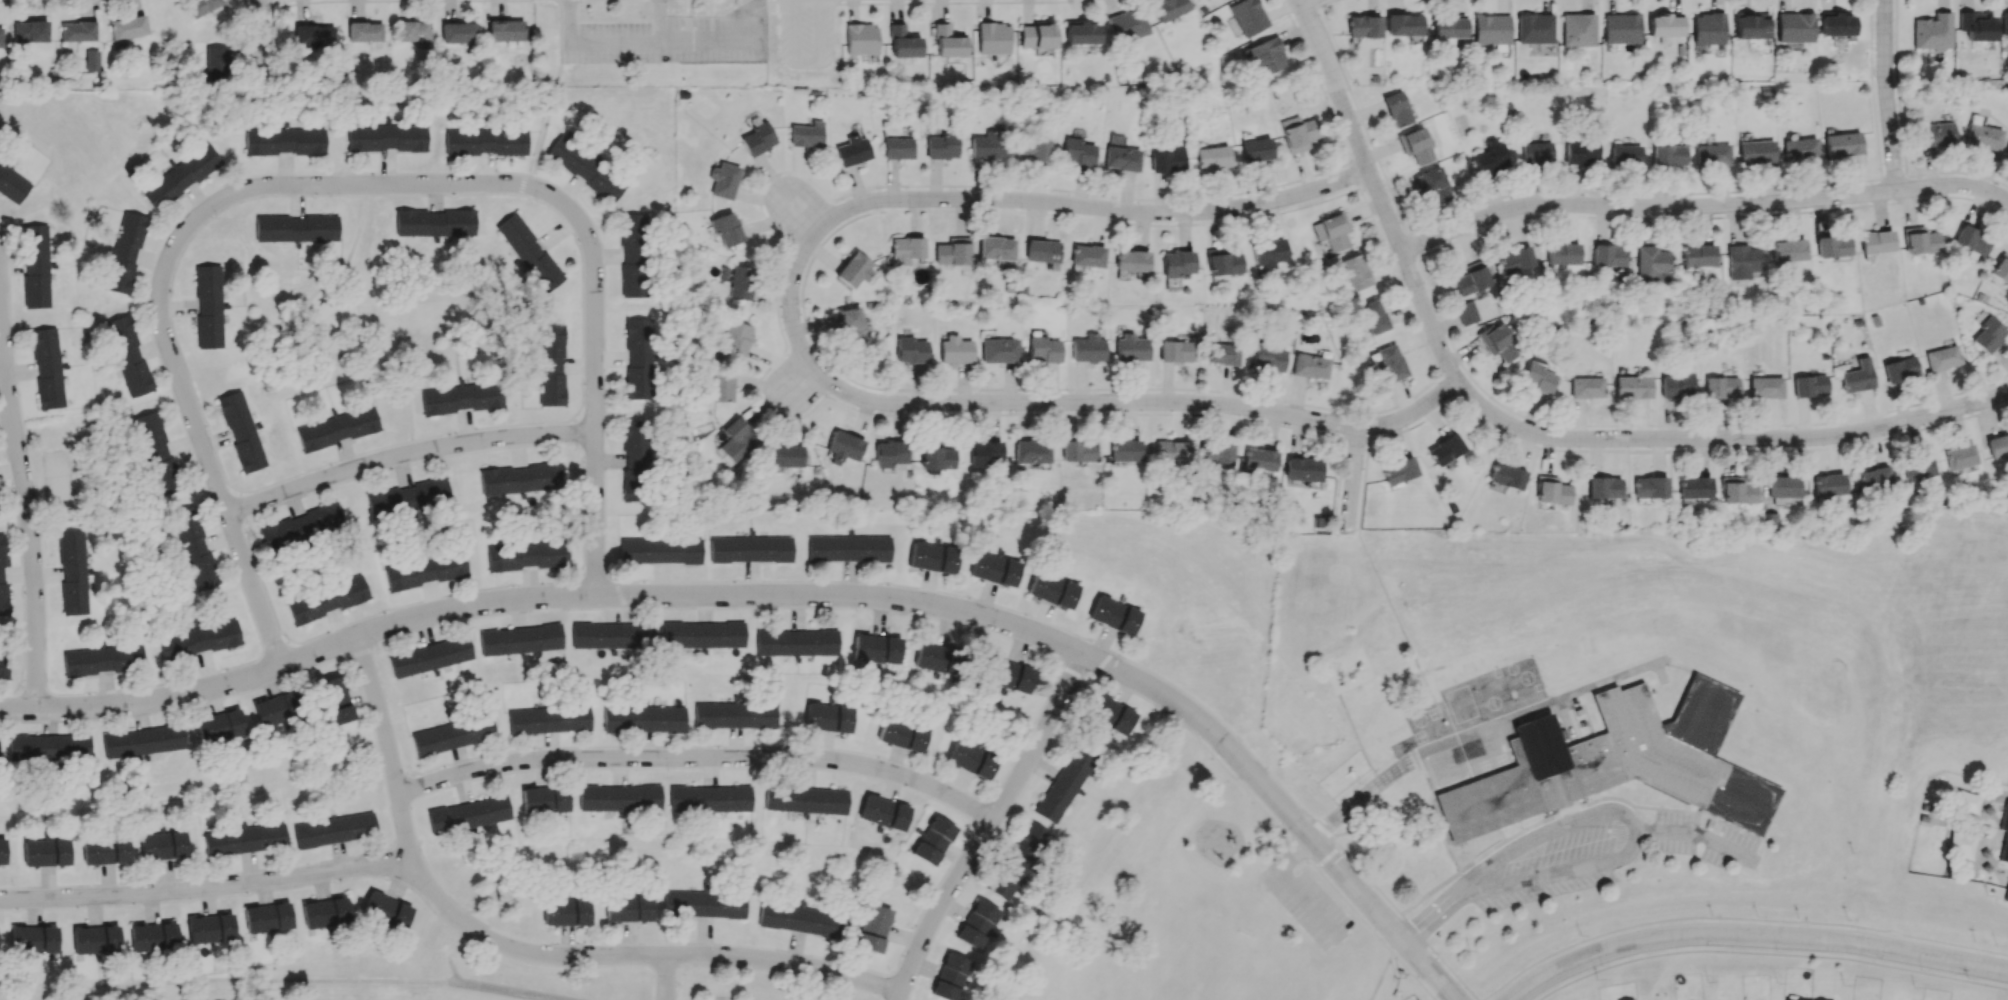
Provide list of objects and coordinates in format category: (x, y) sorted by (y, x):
road: (787, 0)
road: (795, 1)
road: (896, 1)
road: (954, 2)
road: (1304, 2)
road: (1322, 3)
road: (1312, 4)
building: (206, 6)
building: (1167, 8)
road: (756, 10)
building: (1247, 16)
road: (568, 20)
road: (658, 20)
building: (1127, 24)
building: (1836, 24)
building: (2004, 24)
building: (1363, 26)
building: (1404, 26)
building: (1664, 26)
building: (1751, 26)
building: (1976, 26)
building: (128, 27)
building: (1447, 27)
building: (1794, 27)
building: (1534, 28)
building: (1621, 28)
building: (1708, 28)
building: (1577, 29)
building: (30, 30)
building: (505, 30)
building: (77, 31)
building: (365, 31)
building: (1491, 31)
building: (458, 32)
building: (1932, 32)
building: (414, 33)
parking lot: (805, 33)
building: (1081, 33)
building: (313, 35)
building: (1036, 36)
building: (1, 37)
building: (993, 38)
road: (261, 39)
building: (861, 39)
parking lot: (666, 41)
road: (705, 41)
building: (948, 41)
road: (613, 42)
building: (902, 42)
road: (560, 43)
building: (1265, 55)
building: (92, 60)
road: (804, 63)
building: (213, 67)
road: (1317, 79)
road: (1336, 85)
road: (1898, 87)
road: (1872, 88)
road: (1886, 95)
building: (1397, 108)
road: (1361, 119)
road: (541, 129)
building: (1298, 133)
building: (806, 134)
building: (1935, 134)
building: (1982, 135)
building: (386, 137)
building: (758, 138)
building: (284, 140)
building: (485, 141)
building: (1842, 144)
building: (942, 145)
building: (988, 145)
building: (1418, 146)
building: (898, 147)
road: (1380, 147)
building: (1799, 148)
building: (1256, 149)
building: (852, 150)
building: (1032, 150)
building: (1077, 152)
building: (1536, 152)
building: (1580, 152)
building: (1756, 152)
building: (1120, 154)
building: (1712, 154)
building: (2007, 154)
building: (1625, 155)
building: (1669, 155)
building: (1491, 156)
building: (1212, 157)
road: (1357, 157)
building: (1167, 160)
building: (585, 168)
road: (1958, 171)
road: (525, 173)
road: (1355, 173)
building: (180, 176)
road: (1893, 176)
road: (769, 178)
building: (723, 179)
road: (1906, 182)
building: (12, 183)
road: (521, 183)
road: (1880, 184)
building: (1434, 185)
road: (1090, 192)
road: (1640, 192)
road: (252, 193)
road: (520, 194)
road: (1907, 195)
road: (1879, 197)
road: (1052, 203)
street lamp: (1284, 203)
road: (1704, 205)
road: (799, 209)
road: (1389, 214)
road: (1099, 215)
road: (1711, 216)
road: (1881, 216)
road: (1911, 216)
road: (806, 219)
building: (434, 222)
building: (296, 228)
building: (726, 228)
road: (1140, 231)
building: (1330, 231)
road: (1097, 232)
building: (1920, 240)
building: (1876, 241)
building: (1971, 241)
road: (821, 242)
road: (1411, 245)
building: (1832, 246)
building: (907, 247)
building: (996, 247)
building: (1041, 250)
building: (1788, 250)
building: (1268, 251)
building: (124, 252)
building: (529, 252)
building: (1562, 253)
building: (631, 255)
building: (950, 255)
building: (1087, 255)
building: (1608, 255)
building: (1698, 255)
building: (1131, 260)
building: (1515, 260)
building: (1743, 261)
building: (1176, 263)
building: (1224, 263)
building: (1653, 263)
building: (35, 266)
building: (853, 268)
building: (1354, 271)
building: (2000, 271)
building: (1139, 274)
building: (1472, 278)
building: (740, 282)
building: (1008, 286)
building: (1022, 287)
road: (594, 296)
building: (869, 304)
building: (208, 306)
building: (1466, 312)
building: (1371, 316)
road: (1431, 320)
building: (848, 324)
building: (1988, 334)
building: (736, 337)
road: (313, 341)
building: (1498, 342)
building: (1000, 349)
building: (1044, 349)
building: (1087, 349)
building: (1131, 349)
building: (911, 351)
building: (956, 351)
building: (1176, 351)
building: (1222, 353)
building: (128, 355)
building: (1267, 356)
building: (638, 358)
building: (1942, 358)
road: (602, 362)
building: (1389, 363)
building: (550, 364)
building: (1310, 365)
building: (46, 369)
building: (1899, 369)
road: (802, 372)
building: (1857, 376)
building: (1538, 377)
road: (798, 382)
building: (722, 385)
building: (1677, 385)
building: (1809, 385)
building: (1633, 386)
road: (1448, 387)
building: (1586, 387)
building: (1721, 387)
building: (1765, 387)
road: (1461, 393)
road: (1297, 394)
building: (462, 397)
road: (1403, 397)
road: (1104, 402)
road: (957, 414)
road: (1367, 414)
road: (1414, 422)
road: (1670, 423)
road: (1368, 427)
building: (337, 428)
building: (241, 431)
road: (1297, 435)
road: (1356, 438)
building: (737, 439)
road: (1393, 439)
road: (1728, 442)
building: (1997, 445)
building: (843, 447)
building: (1444, 449)
building: (1077, 450)
building: (1123, 450)
building: (1031, 451)
road: (1726, 451)
building: (157, 452)
building: (984, 452)
building: (1170, 452)
road: (405, 453)
building: (890, 453)
building: (1215, 454)
building: (787, 455)
building: (936, 455)
road: (1546, 456)
building: (1959, 456)
building: (1259, 459)
road: (1595, 459)
building: (634, 460)
road: (210, 468)
building: (1916, 468)
building: (1302, 469)
building: (1398, 470)
road: (1351, 475)
building: (1506, 476)
park: (56, 477)
building: (520, 478)
building: (1872, 480)
building: (1827, 484)
road: (1363, 486)
building: (1782, 486)
building: (1649, 487)
building: (1694, 487)
building: (1603, 488)
building: (1551, 490)
building: (1737, 490)
road: (1578, 495)
building: (408, 497)
building: (324, 517)
road: (27, 521)
building: (284, 532)
building: (194, 547)
building: (848, 548)
building: (750, 549)
building: (659, 550)
building: (526, 555)
building: (932, 557)
building: (993, 569)
building: (425, 571)
building: (72, 572)
building: (2, 579)
building: (1051, 589)
road: (240, 590)
road: (620, 594)
road: (1386, 597)
road: (686, 598)
building: (326, 599)
building: (1113, 615)
road: (1551, 617)
road: (17, 625)
building: (703, 634)
building: (612, 635)
park: (1628, 635)
building: (520, 639)
building: (198, 640)
building: (796, 642)
building: (876, 648)
building: (429, 656)
building: (937, 658)
building: (102, 659)
road: (1661, 660)
building: (3, 666)
road: (1660, 673)
building: (1010, 675)
road: (1607, 681)
building: (335, 700)
road: (1436, 706)
building: (275, 709)
building: (1110, 713)
building: (734, 714)
building: (827, 717)
building: (643, 718)
building: (549, 719)
park: (1806, 719)
road: (1566, 721)
building: (219, 726)
building: (902, 734)
building: (452, 735)
building: (143, 741)
road: (1444, 742)
building: (48, 746)
road: (1246, 747)
road: (390, 751)
building: (971, 759)
road: (702, 761)
building: (1615, 763)
building: (1063, 785)
building: (619, 797)
building: (709, 798)
building: (544, 799)
building: (805, 799)
building: (1967, 801)
building: (883, 812)
building: (467, 814)
road: (1326, 824)
road: (990, 827)
building: (334, 829)
road: (1543, 832)
building: (2003, 833)
road: (1695, 834)
building: (245, 839)
parking lot: (1700, 839)
building: (933, 840)
building: (1963, 844)
building: (163, 845)
building: (2, 850)
building: (106, 851)
building: (46, 852)
road: (1293, 854)
road: (1327, 856)
road: (1251, 858)
building: (1017, 860)
parking lot: (1552, 864)
road: (1553, 873)
road: (208, 889)
building: (2005, 894)
road: (1344, 900)
road: (1306, 902)
building: (704, 904)
parking lot: (1306, 905)
building: (628, 907)
building: (385, 910)
building: (566, 911)
building: (325, 912)
road: (1430, 915)
building: (267, 917)
road: (1383, 918)
building: (799, 919)
road: (1736, 919)
building: (976, 923)
building: (210, 928)
building: (873, 928)
road: (1752, 934)
building: (153, 937)
building: (33, 939)
building: (95, 939)
road: (1770, 954)
road: (642, 958)
park: (1221, 966)
road: (1380, 976)
road: (1411, 976)
building: (950, 977)
road: (669, 979)
road: (833, 983)
building: (1629, 999)

